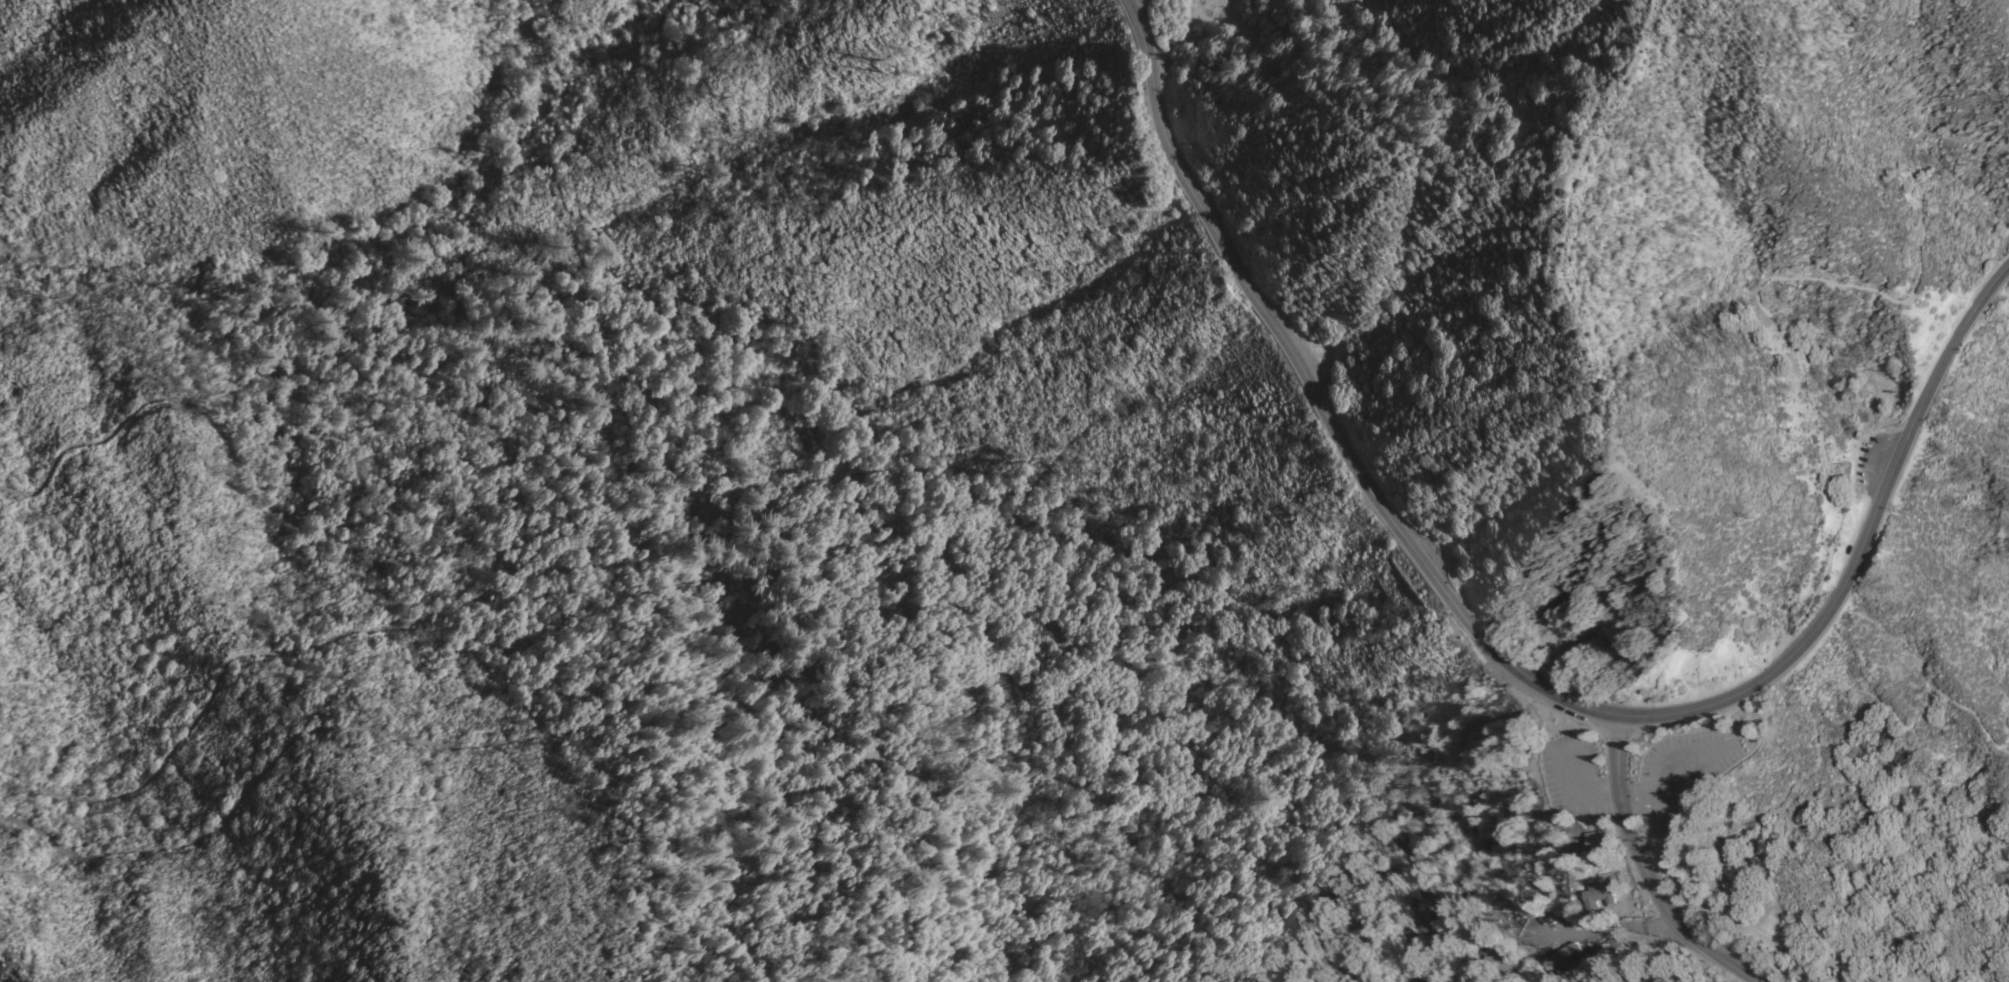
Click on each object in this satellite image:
road: (1767, 315)
parking lot: (1314, 361)
road: (1318, 399)
silo: (1865, 434)
parking lot: (1866, 463)
road: (824, 479)
silo: (1849, 506)
road: (1861, 548)
road: (1866, 687)
road: (2006, 711)
road: (883, 758)
parking lot: (1678, 766)
parking lot: (1577, 777)
road: (1655, 786)
road: (1591, 787)
building: (1676, 809)
building: (1588, 845)
road: (1643, 864)
building: (1600, 895)
road: (1759, 933)
road: (1528, 937)
road: (1555, 937)
building: (1561, 958)
building: (1501, 966)
road: (1326, 974)

